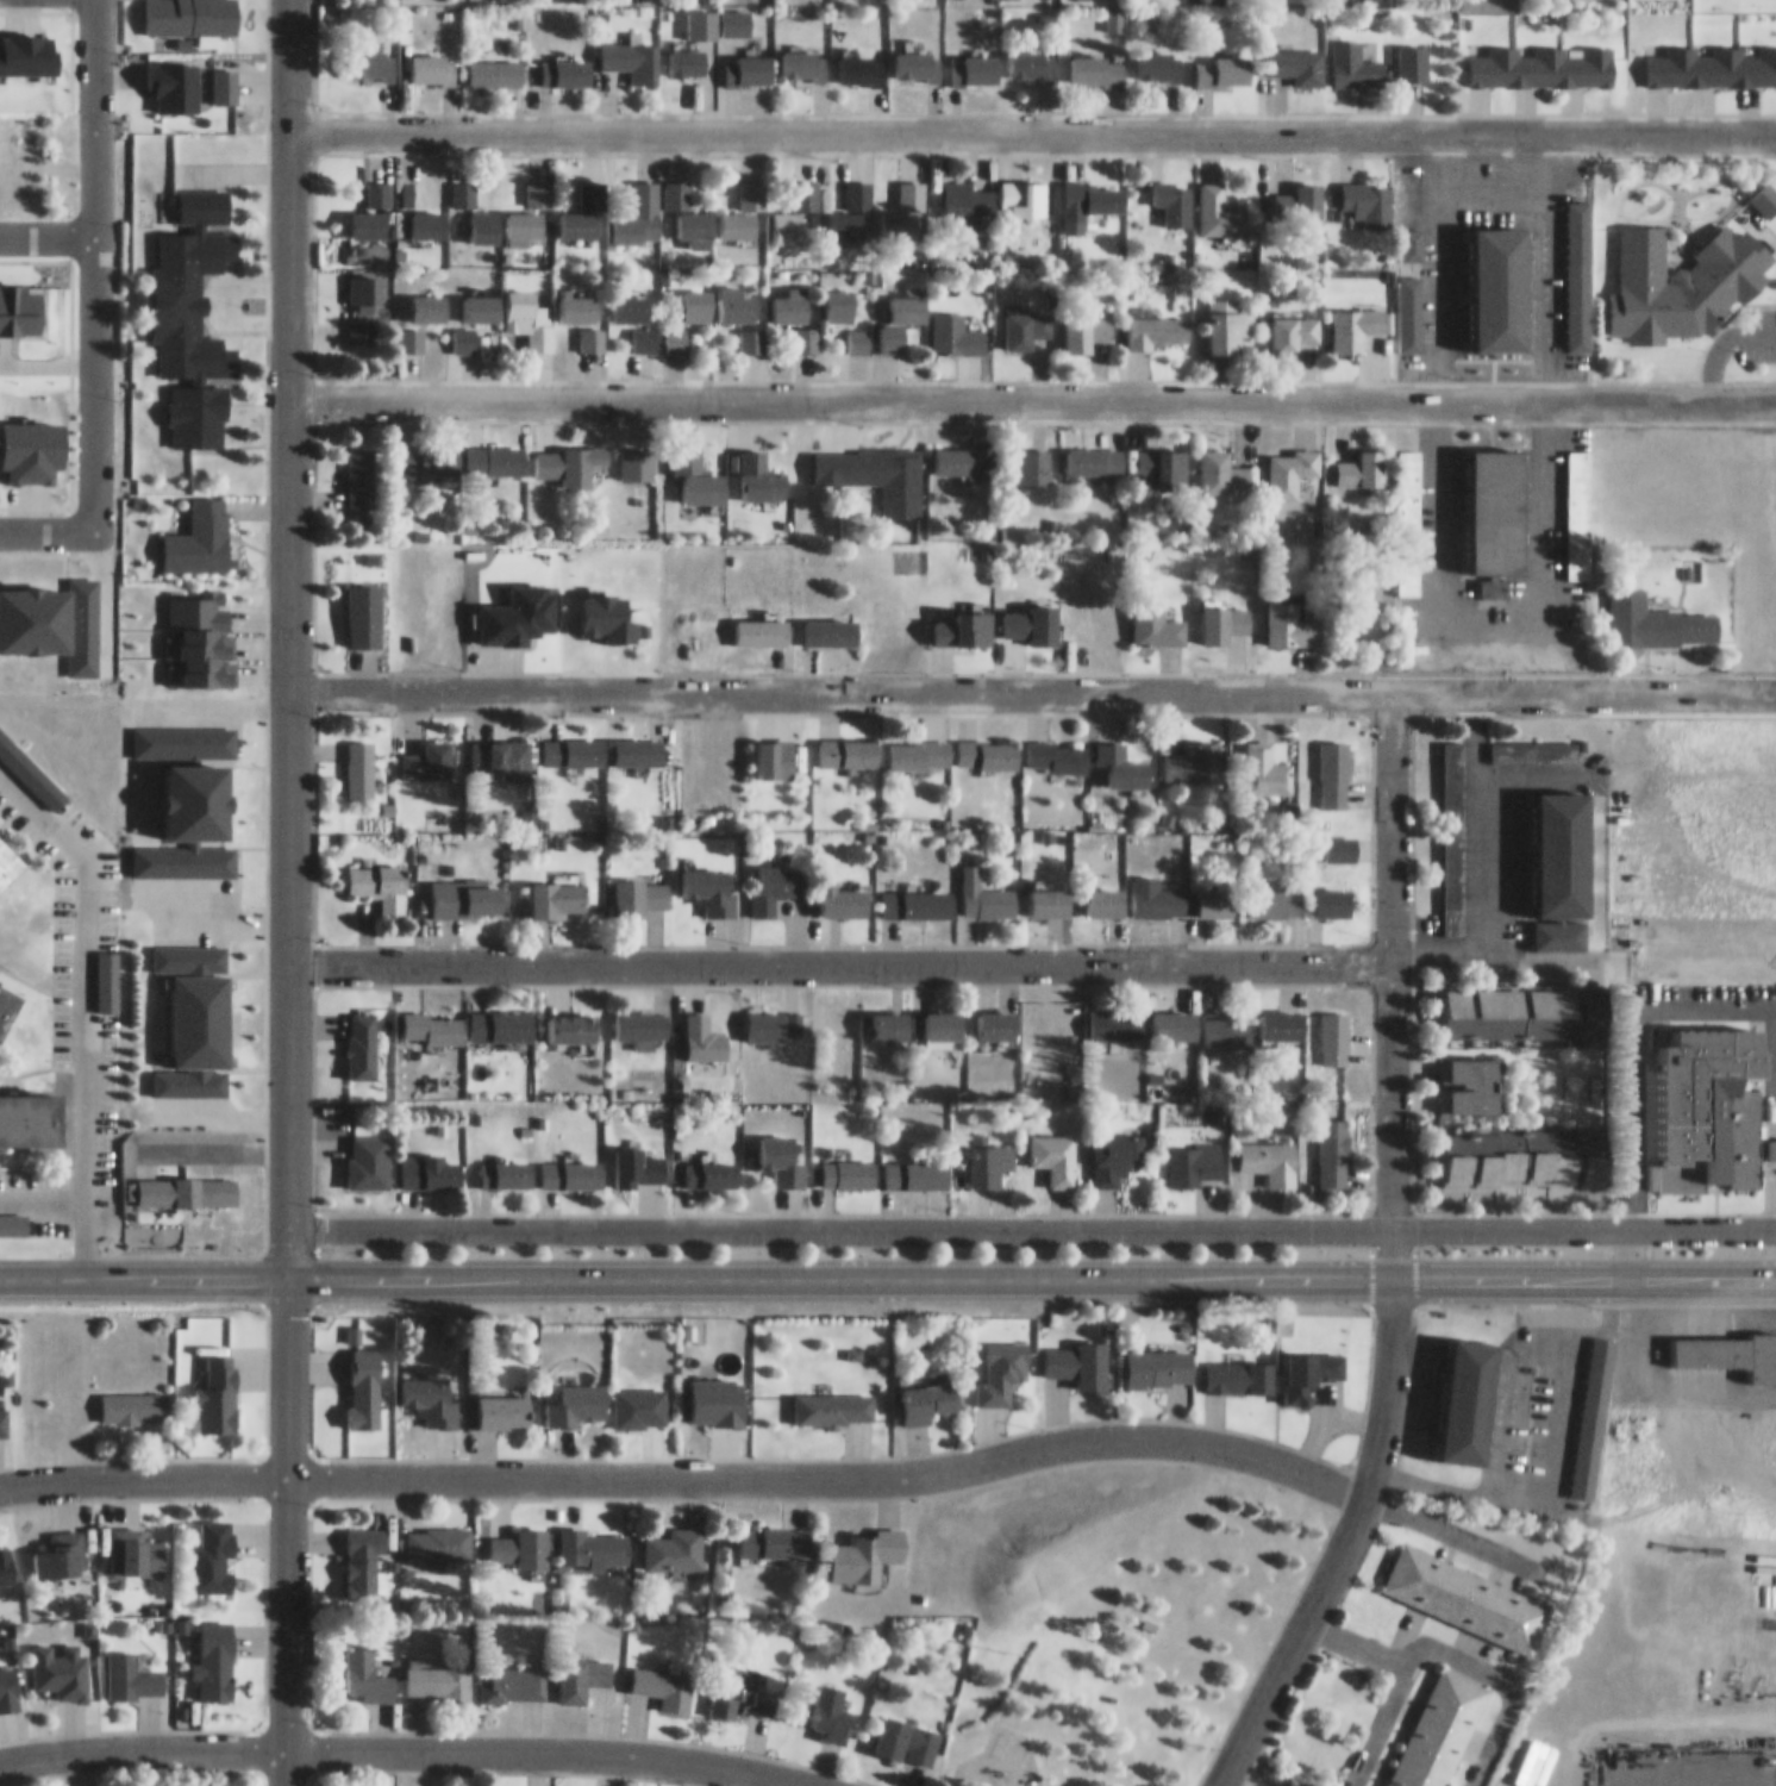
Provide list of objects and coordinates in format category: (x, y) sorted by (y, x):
building: (1539, 0)
building: (1641, 1)
building: (190, 12)
building: (736, 12)
building: (701, 14)
building: (1706, 45)
building: (632, 50)
building: (687, 51)
building: (1413, 52)
building: (803, 54)
building: (373, 56)
building: (918, 56)
building: (1159, 56)
building: (1297, 56)
building: (1356, 56)
building: (1031, 57)
building: (1543, 57)
building: (748, 60)
building: (861, 60)
building: (975, 60)
building: (432, 61)
building: (1100, 61)
building: (1227, 61)
building: (494, 63)
building: (564, 63)
building: (224, 76)
road: (1032, 125)
building: (933, 175)
building: (538, 183)
building: (376, 185)
building: (462, 185)
building: (1025, 189)
building: (1090, 192)
building: (1768, 192)
building: (1174, 193)
building: (1369, 193)
building: (964, 194)
building: (1301, 194)
building: (744, 202)
building: (1220, 202)
building: (795, 204)
building: (902, 204)
building: (582, 205)
building: (851, 205)
building: (638, 207)
building: (687, 208)
building: (368, 214)
building: (426, 214)
building: (483, 219)
building: (525, 219)
road: (46, 237)
road: (94, 260)
building: (1683, 274)
building: (1503, 277)
building: (362, 280)
building: (190, 293)
building: (718, 295)
building: (790, 296)
building: (842, 296)
building: (1580, 296)
building: (429, 299)
building: (480, 299)
building: (577, 299)
building: (629, 299)
building: (530, 307)
building: (903, 311)
building: (1356, 318)
building: (359, 319)
building: (1025, 320)
building: (1232, 321)
building: (1158, 324)
building: (1295, 324)
building: (957, 326)
building: (1089, 326)
building: (644, 330)
building: (677, 330)
building: (806, 330)
building: (411, 331)
building: (463, 331)
building: (752, 331)
building: (858, 331)
road: (1032, 389)
building: (494, 451)
building: (1093, 451)
building: (429, 452)
building: (964, 452)
building: (638, 454)
building: (575, 457)
building: (1033, 457)
building: (1163, 457)
building: (1361, 461)
building: (1290, 463)
building: (1224, 464)
building: (887, 467)
building: (761, 468)
building: (359, 469)
building: (698, 469)
building: (1408, 481)
building: (1497, 502)
building: (1578, 505)
road: (48, 520)
building: (200, 530)
building: (1409, 570)
road: (106, 597)
building: (363, 606)
building: (1641, 612)
building: (1225, 614)
building: (1032, 616)
building: (1292, 616)
building: (1156, 618)
building: (964, 620)
building: (830, 623)
building: (762, 624)
road: (288, 633)
road: (1031, 683)
building: (573, 743)
building: (638, 743)
building: (849, 743)
building: (1533, 743)
building: (920, 747)
building: (988, 747)
building: (502, 749)
building: (1057, 749)
building: (20, 754)
building: (427, 754)
building: (1194, 755)
building: (1122, 757)
building: (358, 760)
building: (1265, 761)
building: (1334, 767)
building: (1452, 769)
building: (1339, 841)
building: (1569, 845)
building: (10, 855)
building: (775, 876)
building: (380, 878)
building: (709, 881)
building: (643, 888)
building: (986, 889)
building: (467, 891)
building: (844, 892)
building: (1275, 892)
building: (1051, 894)
building: (1137, 894)
building: (1217, 894)
building: (1336, 894)
building: (918, 895)
building: (1559, 926)
building: (189, 949)
road: (839, 955)
building: (107, 972)
road: (1392, 976)
building: (8, 1000)
road: (82, 1003)
building: (1508, 1004)
building: (771, 1016)
building: (996, 1016)
building: (1117, 1016)
building: (1175, 1016)
building: (1284, 1016)
building: (502, 1017)
building: (889, 1017)
building: (434, 1018)
building: (642, 1018)
building: (944, 1019)
building: (1227, 1020)
building: (201, 1028)
building: (706, 1029)
building: (1334, 1029)
building: (363, 1037)
building: (1425, 1061)
building: (1474, 1076)
building: (1711, 1104)
building: (32, 1112)
building: (1771, 1139)
building: (1334, 1144)
building: (1056, 1148)
building: (1118, 1148)
building: (1525, 1150)
building: (781, 1151)
building: (369, 1153)
building: (1270, 1153)
building: (1193, 1155)
building: (990, 1156)
building: (638, 1157)
building: (507, 1164)
building: (848, 1164)
building: (571, 1166)
building: (711, 1166)
building: (917, 1166)
building: (426, 1167)
building: (188, 1182)
road: (40, 1186)
building: (12, 1214)
road: (1031, 1218)
road: (887, 1268)
building: (1713, 1339)
building: (1078, 1355)
building: (1161, 1360)
building: (1003, 1363)
building: (1311, 1366)
building: (1239, 1369)
building: (364, 1379)
building: (218, 1387)
building: (431, 1390)
building: (1453, 1391)
building: (715, 1393)
building: (930, 1393)
building: (579, 1397)
building: (133, 1398)
building: (639, 1398)
parking lot: (1540, 1398)
building: (833, 1399)
building: (506, 1403)
road: (1557, 1405)
building: (1583, 1406)
building: (4, 1413)
road: (688, 1467)
road: (1451, 1523)
road: (284, 1526)
building: (774, 1530)
building: (438, 1531)
building: (521, 1536)
building: (594, 1537)
building: (674, 1538)
road: (1340, 1538)
building: (136, 1540)
building: (867, 1542)
building: (61, 1544)
building: (213, 1544)
building: (362, 1551)
building: (6, 1554)
building: (1468, 1587)
road: (1353, 1634)
road: (1447, 1642)
building: (214, 1650)
building: (61, 1660)
building: (365, 1665)
building: (132, 1666)
building: (581, 1667)
building: (439, 1671)
building: (512, 1672)
building: (664, 1675)
building: (8, 1676)
building: (740, 1685)
building: (830, 1700)
building: (1438, 1724)
building: (908, 1730)
road: (419, 1736)
road: (1674, 1767)
road: (1768, 1767)
road: (1759, 1776)

